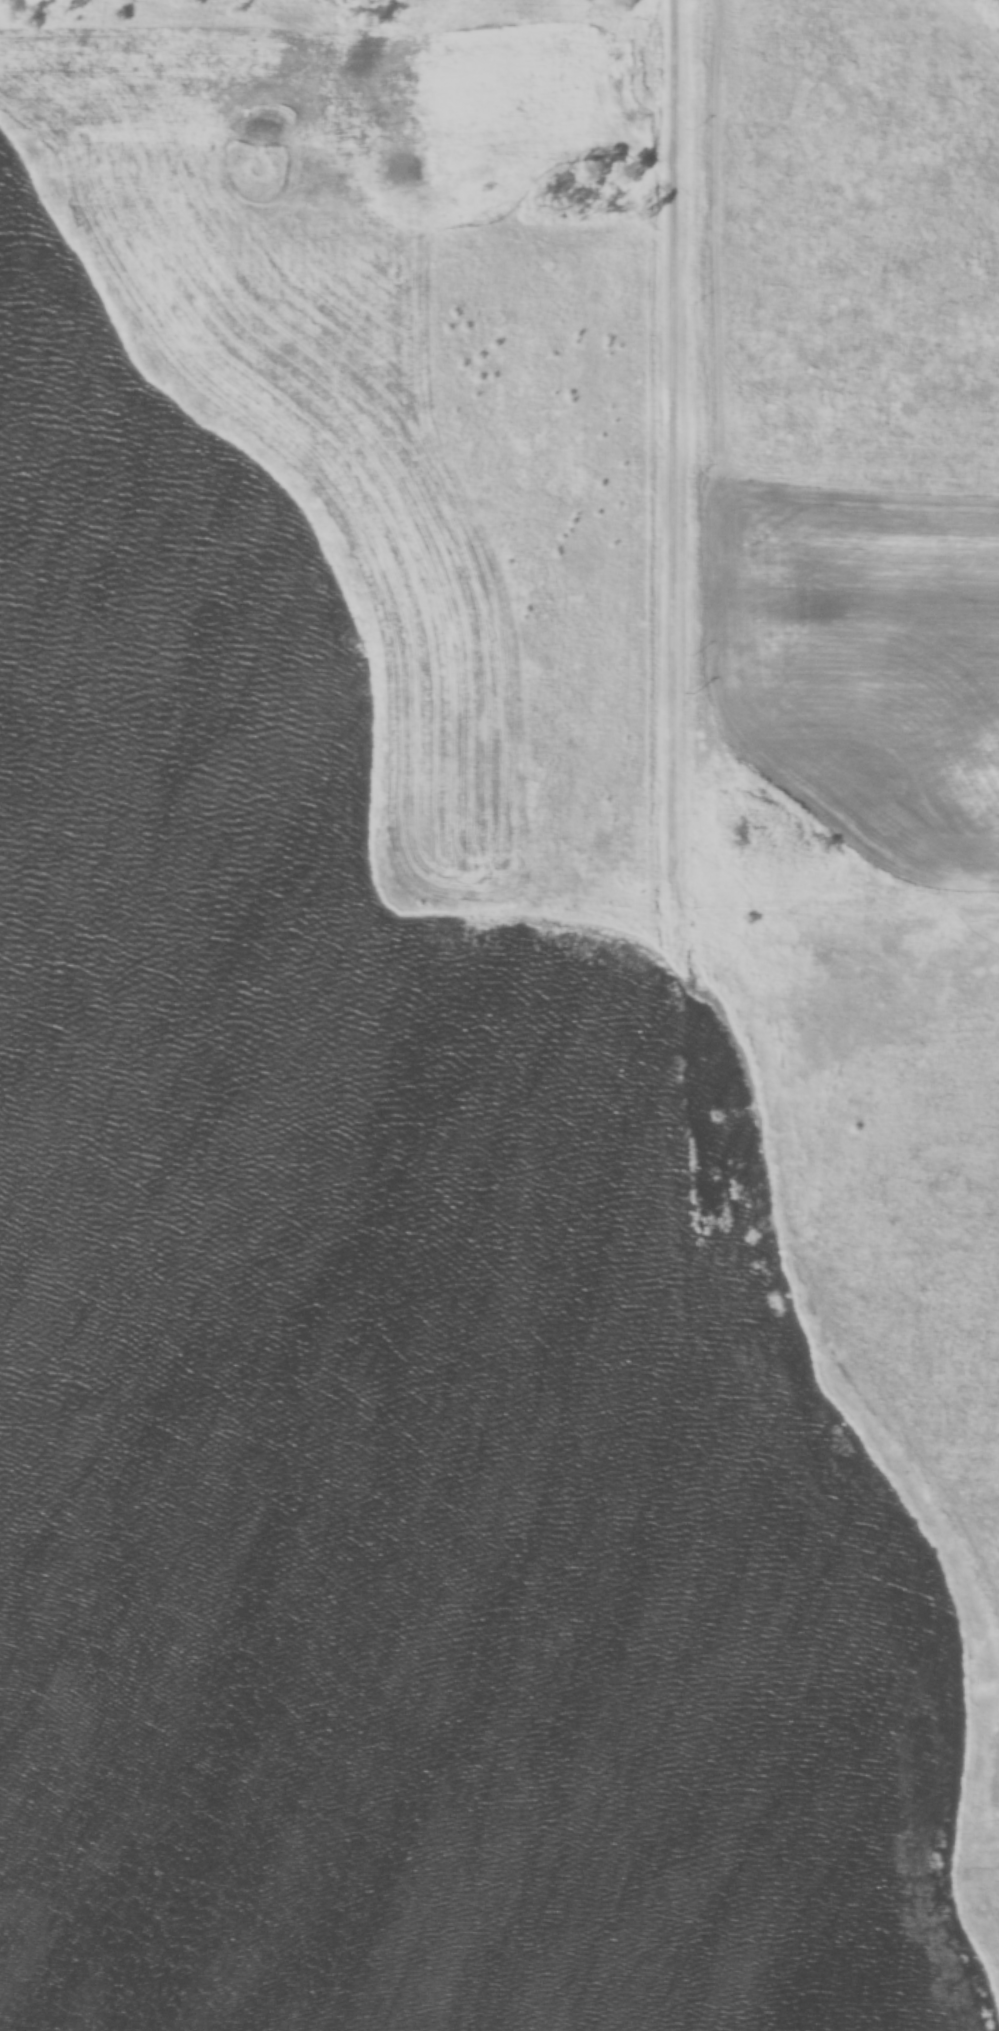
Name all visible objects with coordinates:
road: (684, 1015)
road: (831, 1882)

